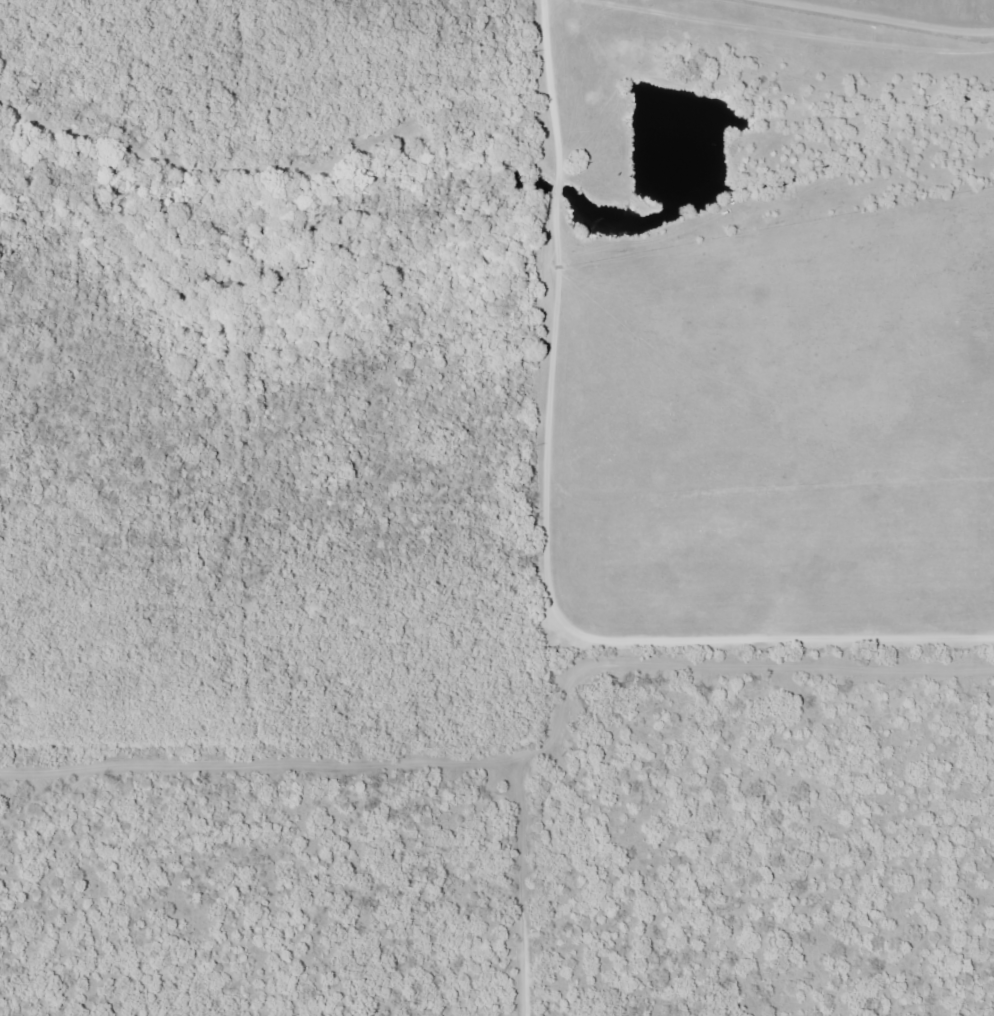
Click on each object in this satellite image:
road: (546, 530)

